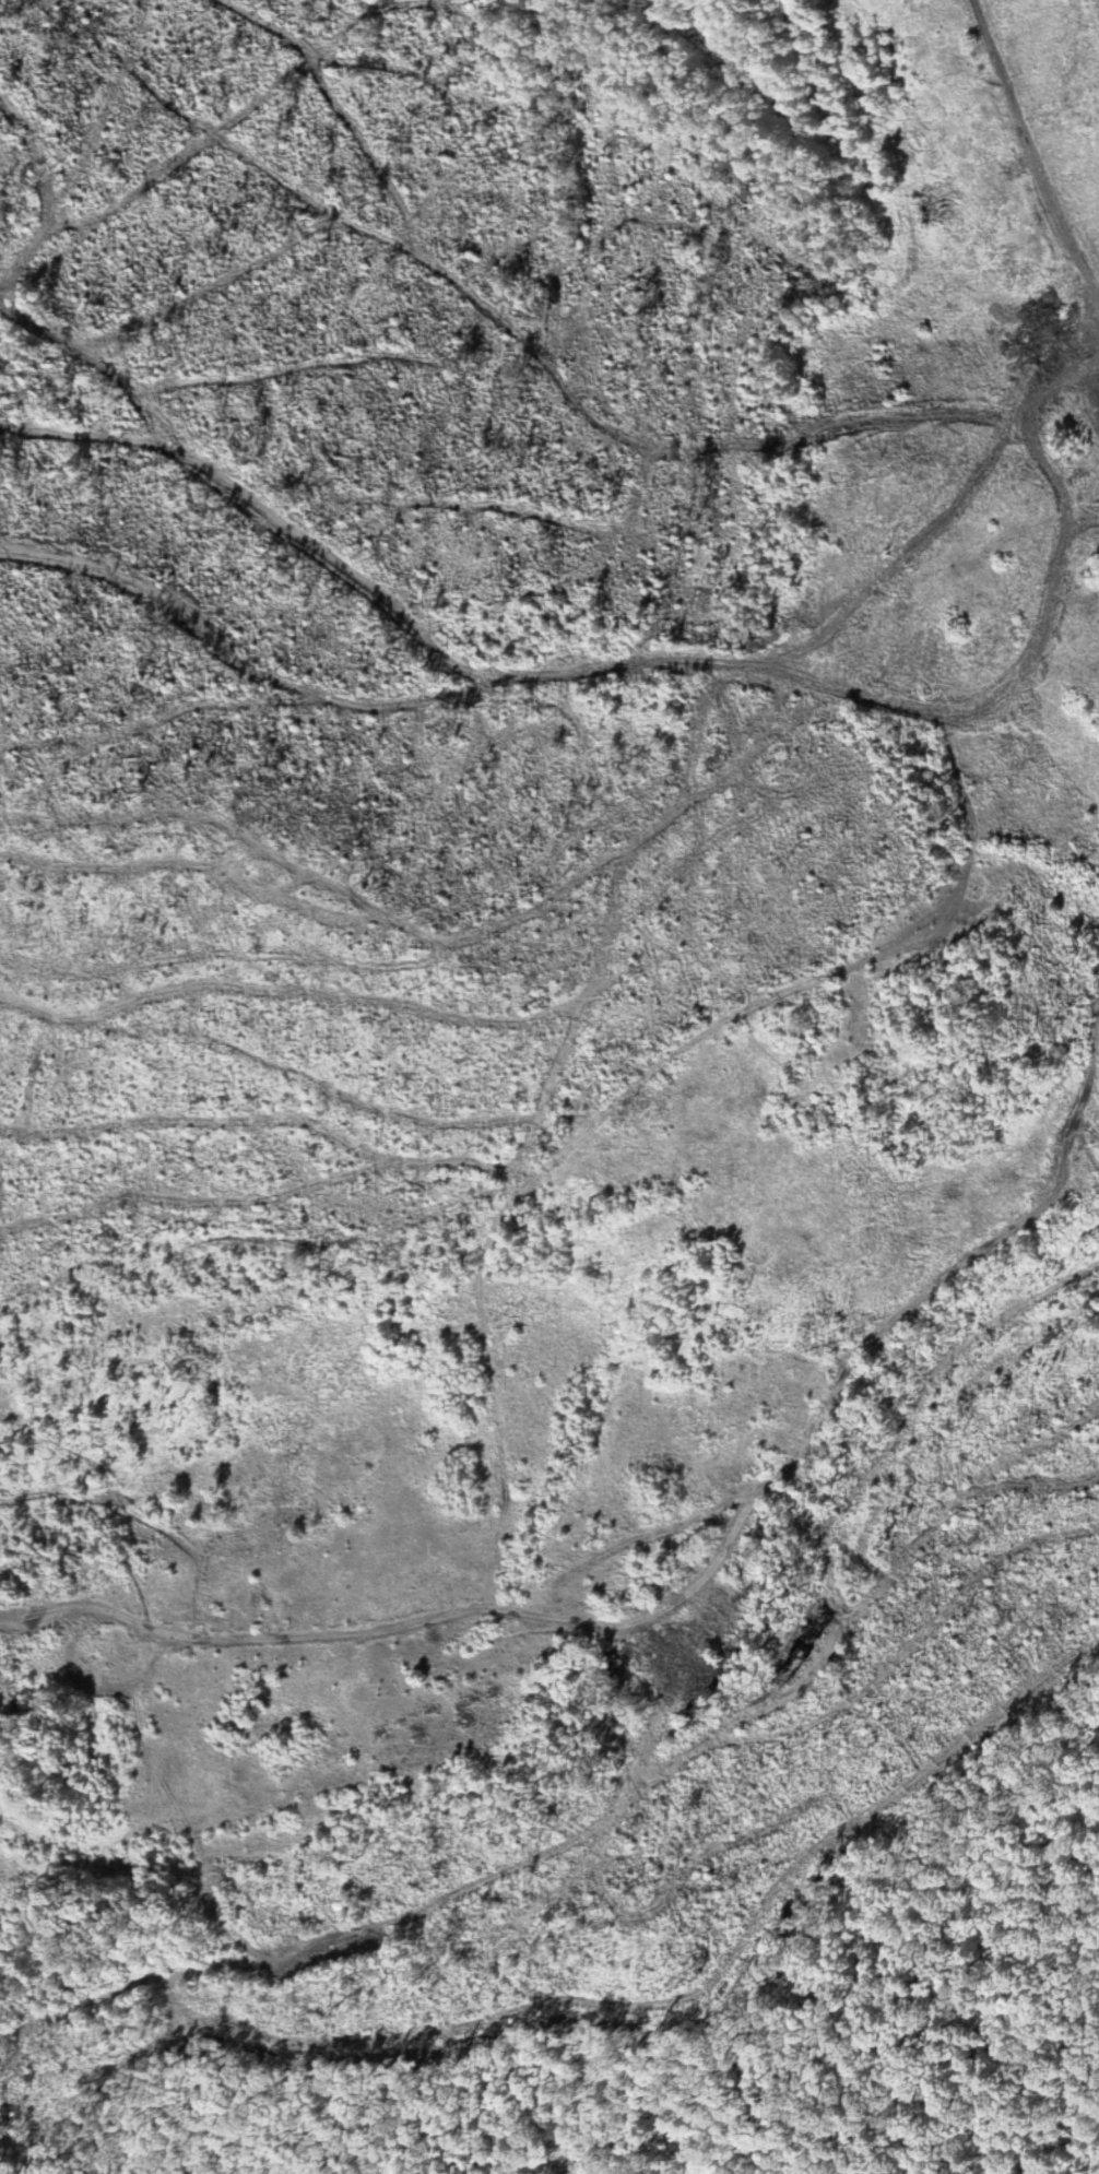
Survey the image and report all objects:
road: (1038, 98)
road: (700, 1314)

